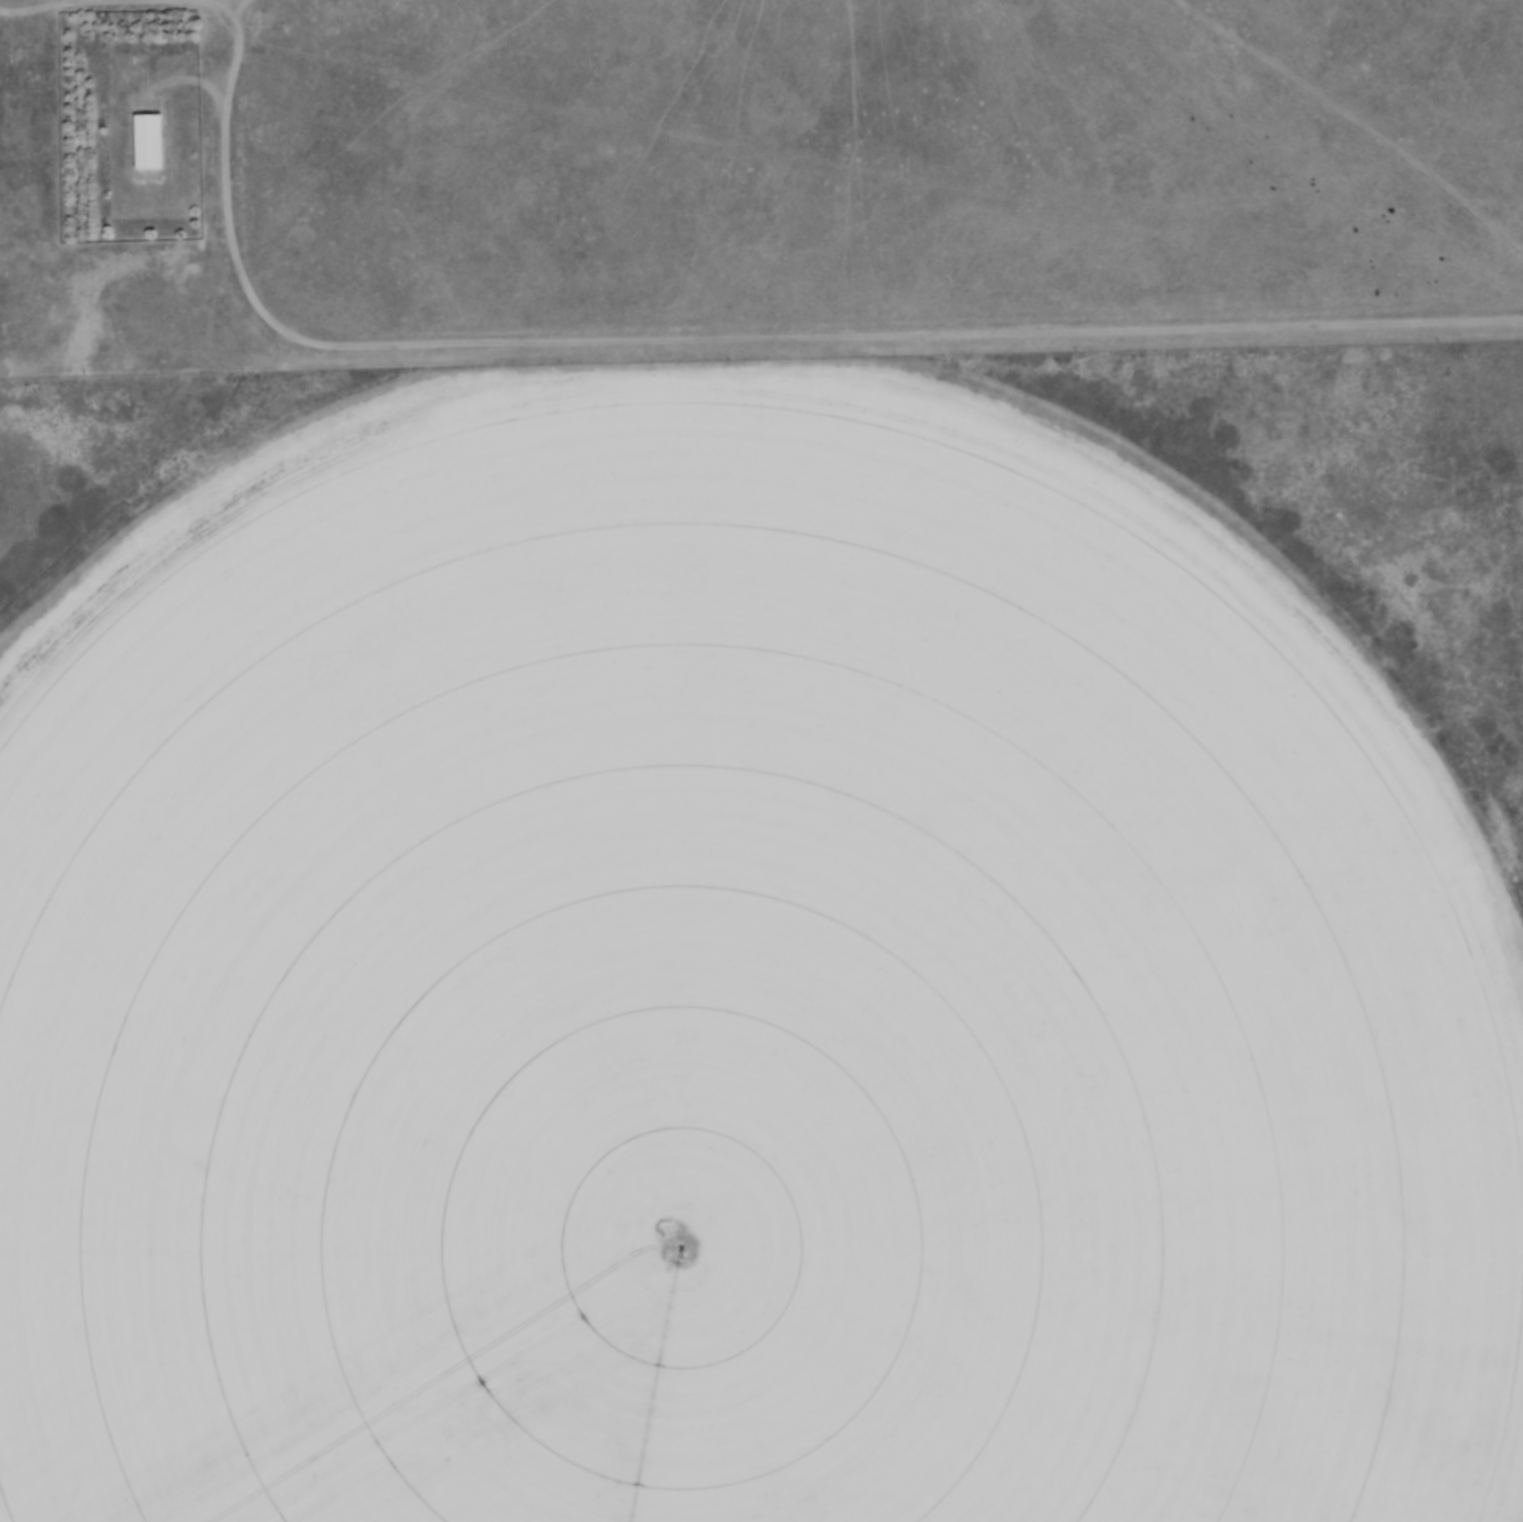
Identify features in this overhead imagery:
road: (185, 1)
road: (209, 90)
building: (147, 143)
crop: (738, 993)

